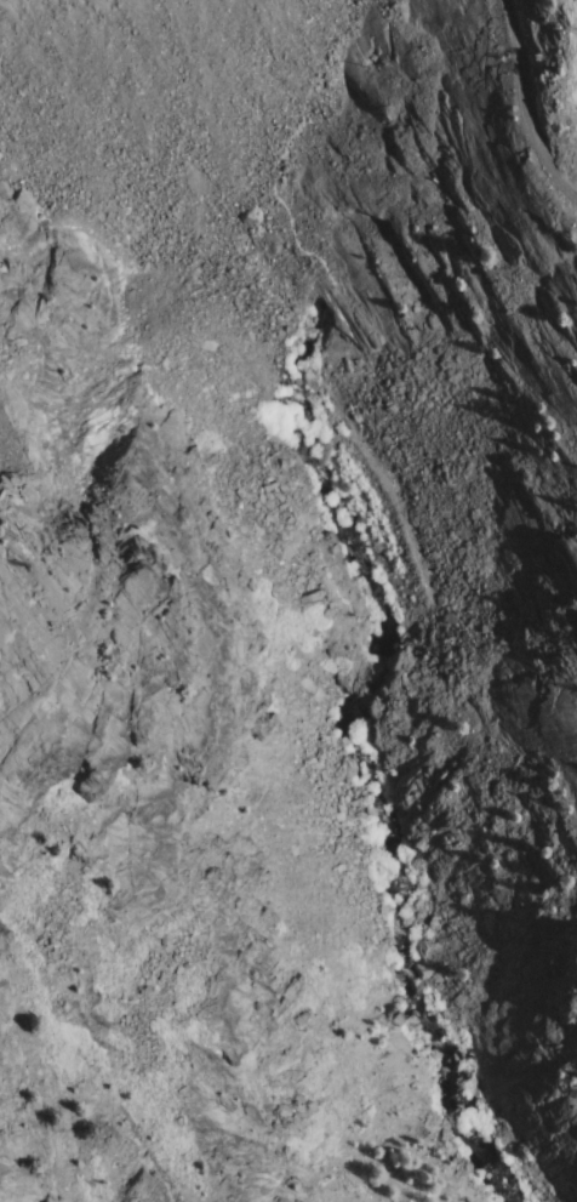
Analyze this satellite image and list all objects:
road: (524, 102)
dam: (185, 126)

